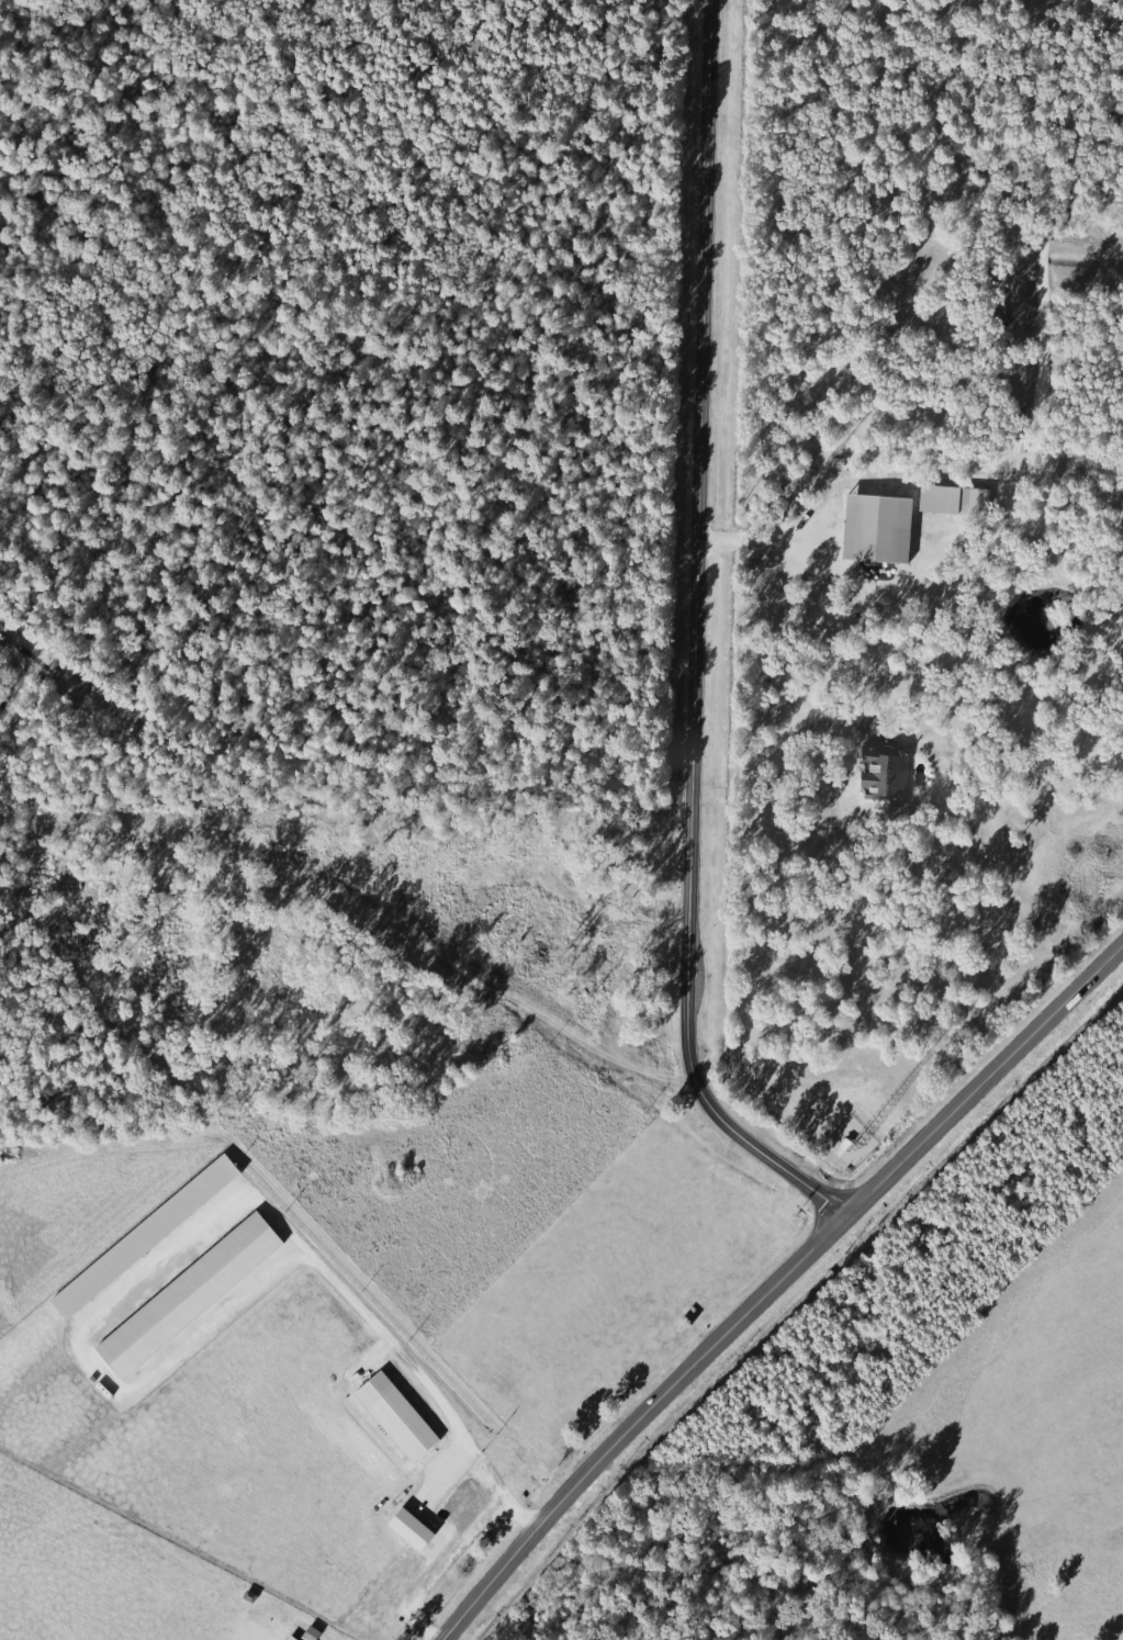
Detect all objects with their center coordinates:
park: (333, 417)
building: (957, 499)
building: (883, 528)
road: (764, 542)
road: (696, 641)
road: (66, 672)
road: (20, 688)
road: (777, 752)
building: (888, 772)
building: (154, 1232)
road: (775, 1282)
building: (192, 1294)
building: (400, 1415)
building: (415, 1528)
building: (294, 1638)

